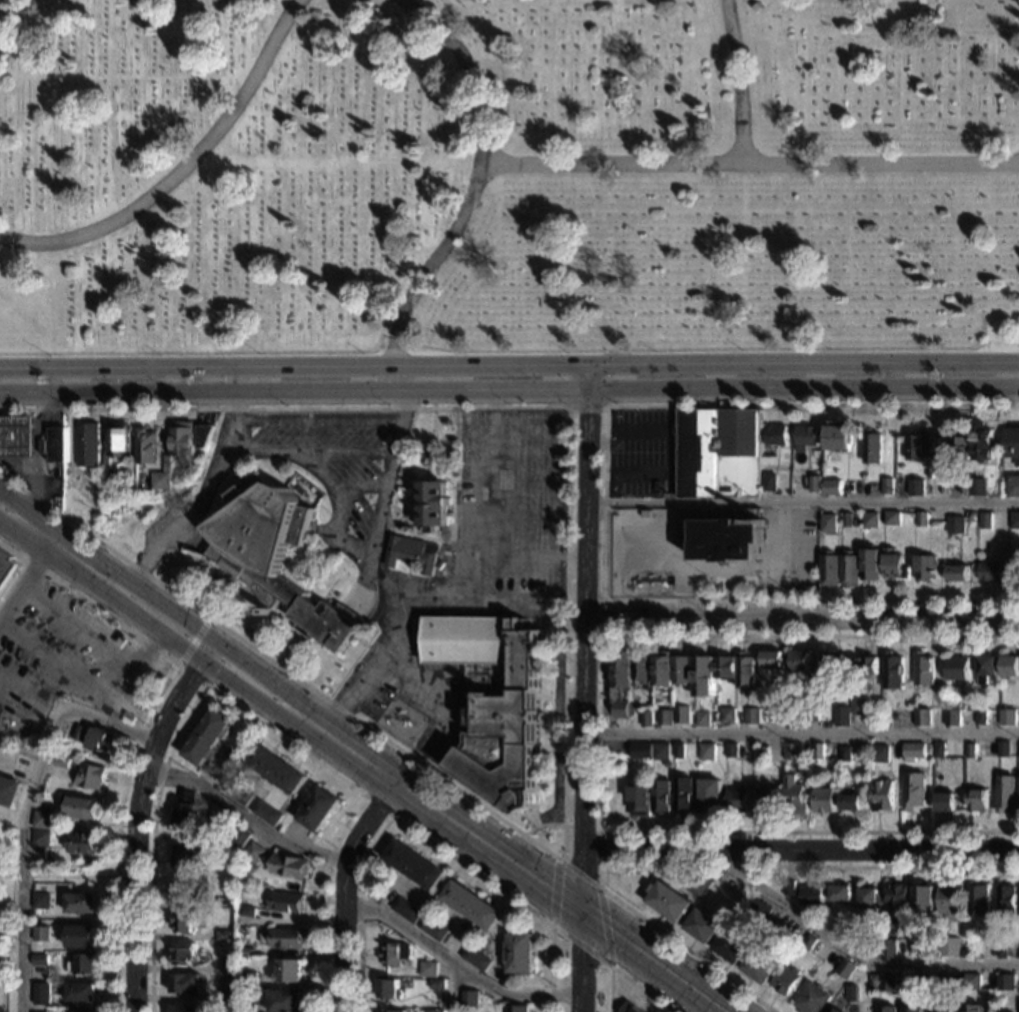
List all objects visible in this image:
building: (754, 8)
road: (736, 82)
building: (554, 134)
road: (750, 164)
road: (183, 170)
park: (509, 174)
road: (474, 191)
road: (509, 361)
road: (509, 394)
road: (585, 407)
road: (315, 419)
road: (512, 432)
road: (431, 434)
building: (774, 435)
building: (16, 436)
building: (201, 436)
building: (805, 437)
building: (838, 437)
road: (666, 438)
building: (182, 439)
building: (118, 441)
building: (982, 443)
building: (57, 444)
building: (86, 445)
building: (1012, 445)
building: (937, 446)
building: (144, 447)
building: (874, 447)
building: (916, 447)
building: (960, 447)
road: (310, 453)
parking lot: (641, 453)
building: (718, 453)
road: (40, 456)
road: (435, 468)
road: (512, 473)
building: (931, 475)
building: (58, 476)
building: (159, 481)
building: (110, 482)
building: (770, 483)
building: (816, 484)
road: (361, 485)
building: (889, 486)
building: (964, 486)
building: (1014, 486)
building: (917, 487)
building: (978, 487)
building: (833, 488)
road: (206, 499)
road: (802, 501)
road: (602, 504)
building: (432, 506)
road: (335, 508)
road: (511, 517)
building: (894, 519)
building: (849, 520)
building: (872, 520)
building: (1015, 520)
building: (923, 521)
building: (986, 521)
building: (829, 523)
building: (957, 525)
road: (31, 527)
road: (422, 536)
building: (722, 539)
building: (409, 554)
building: (276, 558)
road: (526, 558)
building: (872, 564)
building: (896, 565)
building: (6, 568)
parking lot: (496, 568)
building: (928, 568)
building: (832, 570)
building: (852, 570)
building: (1015, 570)
building: (992, 572)
building: (959, 573)
road: (379, 574)
road: (23, 588)
road: (166, 608)
road: (601, 618)
road: (802, 620)
road: (0, 623)
road: (82, 626)
road: (158, 635)
road: (193, 640)
parking lot: (76, 659)
road: (58, 660)
building: (773, 660)
building: (800, 664)
building: (868, 666)
road: (138, 667)
building: (1010, 667)
building: (987, 668)
road: (377, 669)
building: (641, 669)
building: (663, 669)
building: (727, 669)
building: (924, 669)
building: (958, 669)
building: (683, 670)
building: (894, 671)
building: (746, 672)
building: (831, 672)
road: (191, 674)
building: (705, 677)
building: (620, 683)
road: (583, 686)
road: (564, 691)
building: (493, 702)
road: (42, 705)
building: (862, 706)
road: (239, 708)
road: (114, 710)
building: (813, 714)
building: (681, 715)
building: (782, 715)
building: (728, 716)
building: (752, 717)
building: (844, 717)
building: (923, 717)
building: (982, 717)
building: (1009, 717)
building: (664, 718)
building: (953, 718)
building: (645, 719)
building: (702, 719)
road: (141, 727)
building: (79, 733)
road: (801, 734)
road: (328, 735)
road: (599, 735)
building: (208, 738)
building: (101, 740)
building: (1004, 749)
building: (940, 750)
road: (356, 751)
building: (678, 751)
building: (731, 751)
building: (793, 751)
building: (818, 751)
building: (915, 751)
building: (971, 751)
building: (640, 752)
building: (660, 752)
building: (706, 752)
building: (763, 754)
building: (846, 754)
building: (880, 754)
road: (353, 755)
building: (62, 761)
building: (277, 769)
building: (90, 776)
road: (388, 776)
building: (9, 790)
building: (914, 791)
building: (238, 792)
building: (1006, 794)
building: (710, 796)
building: (883, 796)
building: (660, 797)
building: (682, 797)
building: (795, 797)
building: (639, 799)
building: (769, 799)
building: (737, 800)
building: (824, 800)
building: (977, 800)
building: (1018, 801)
building: (852, 802)
building: (945, 802)
road: (379, 805)
building: (79, 808)
building: (319, 809)
road: (26, 810)
building: (186, 810)
road: (244, 813)
building: (268, 813)
road: (135, 816)
building: (41, 819)
road: (367, 819)
road: (541, 824)
road: (423, 836)
building: (241, 837)
building: (40, 838)
building: (81, 843)
road: (487, 844)
road: (599, 849)
road: (800, 851)
building: (256, 852)
building: (195, 856)
building: (414, 865)
building: (291, 866)
road: (690, 867)
road: (58, 876)
building: (698, 885)
building: (788, 888)
building: (182, 891)
building: (840, 894)
building: (810, 896)
building: (41, 899)
building: (977, 899)
building: (897, 900)
building: (924, 900)
building: (949, 900)
building: (1005, 901)
building: (288, 902)
building: (667, 902)
building: (870, 902)
building: (81, 903)
building: (225, 903)
building: (472, 905)
traffic signals: (579, 907)
building: (407, 910)
building: (755, 910)
building: (249, 912)
building: (184, 922)
building: (702, 926)
building: (433, 928)
building: (40, 934)
building: (850, 934)
road: (341, 935)
building: (225, 936)
building: (81, 937)
building: (289, 939)
park: (7, 941)
building: (807, 943)
building: (730, 947)
building: (948, 947)
building: (871, 948)
building: (920, 949)
building: (887, 950)
building: (987, 950)
building: (1004, 950)
building: (1018, 951)
building: (249, 953)
building: (518, 953)
road: (855, 953)
building: (184, 954)
building: (395, 954)
building: (476, 958)
building: (40, 959)
road: (653, 959)
road: (457, 961)
road: (606, 964)
building: (82, 965)
building: (229, 965)
building: (759, 967)
building: (843, 969)
building: (290, 972)
building: (436, 972)
road: (623, 976)
building: (250, 979)
building: (917, 979)
building: (786, 980)
building: (873, 982)
building: (940, 982)
building: (971, 982)
building: (1004, 983)
building: (185, 984)
building: (887, 984)
building: (437, 985)
road: (455, 986)
building: (390, 989)
building: (81, 992)
building: (41, 993)
building: (851, 993)
building: (228, 995)
building: (470, 999)
building: (812, 999)
building: (287, 1001)
building: (248, 1007)
building: (628, 1007)
building: (941, 1008)
building: (973, 1008)
building: (185, 1009)
building: (515, 1009)
building: (833, 1009)
building: (887, 1009)
building: (912, 1010)
building: (39, 1011)
building: (80, 1011)
building: (393, 1011)
building: (434, 1011)

